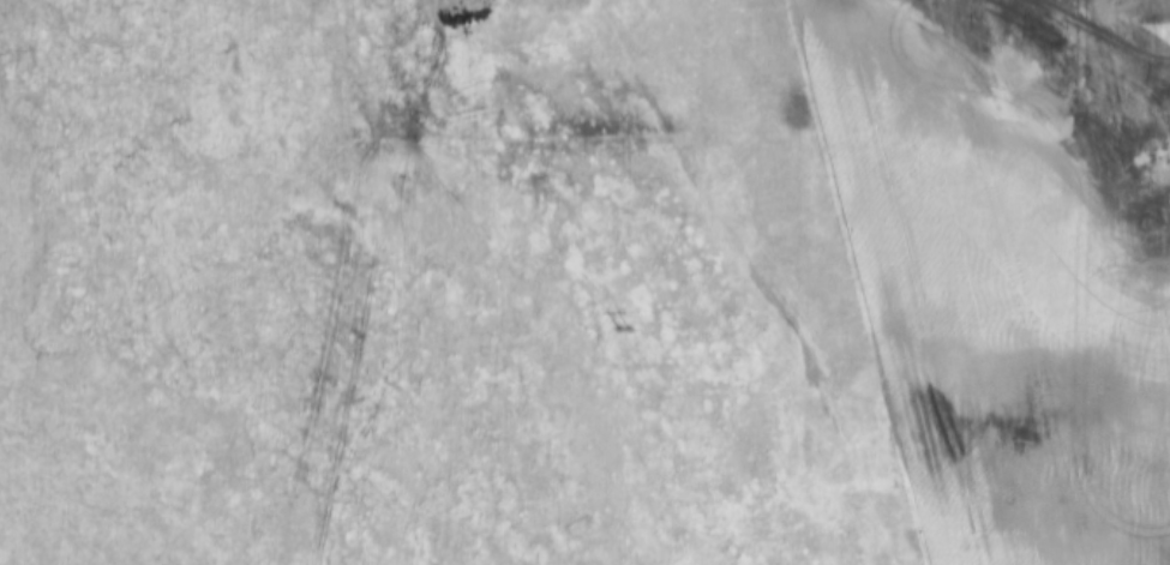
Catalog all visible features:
power tower: (622, 327)

